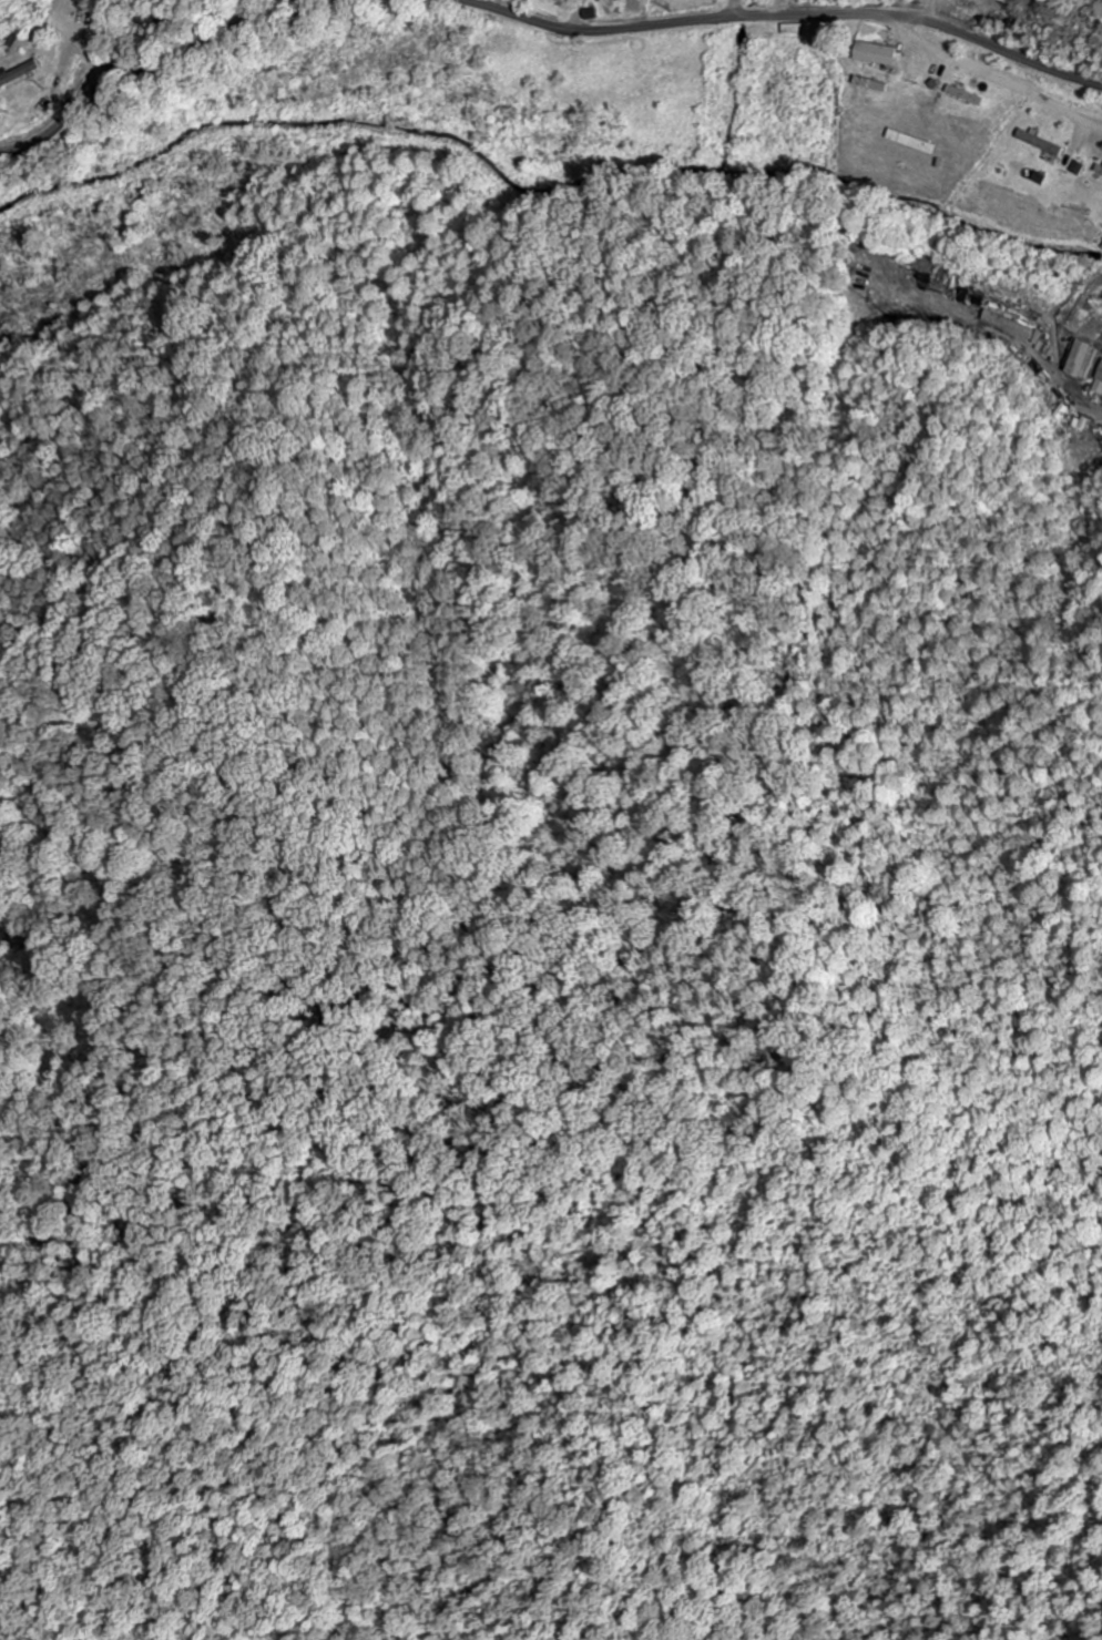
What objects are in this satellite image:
building: (570, 0)
road: (733, 9)
road: (787, 14)
road: (151, 63)
building: (25, 74)
building: (1044, 143)
building: (1086, 359)
building: (1099, 386)

